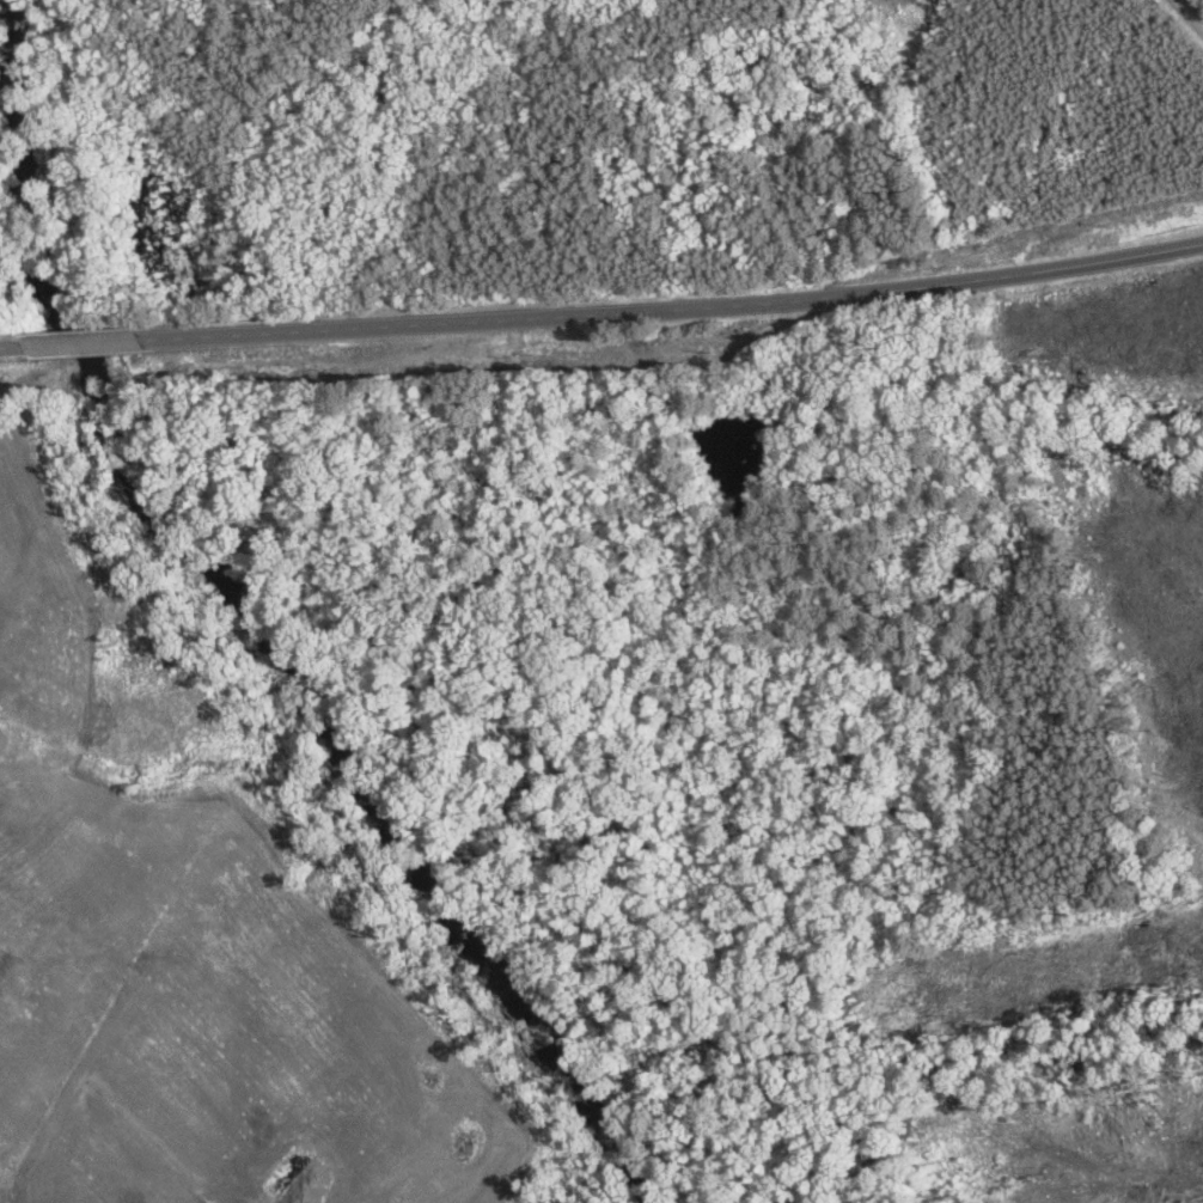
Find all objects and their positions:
road: (670, 306)
road: (77, 341)
road: (10, 344)

